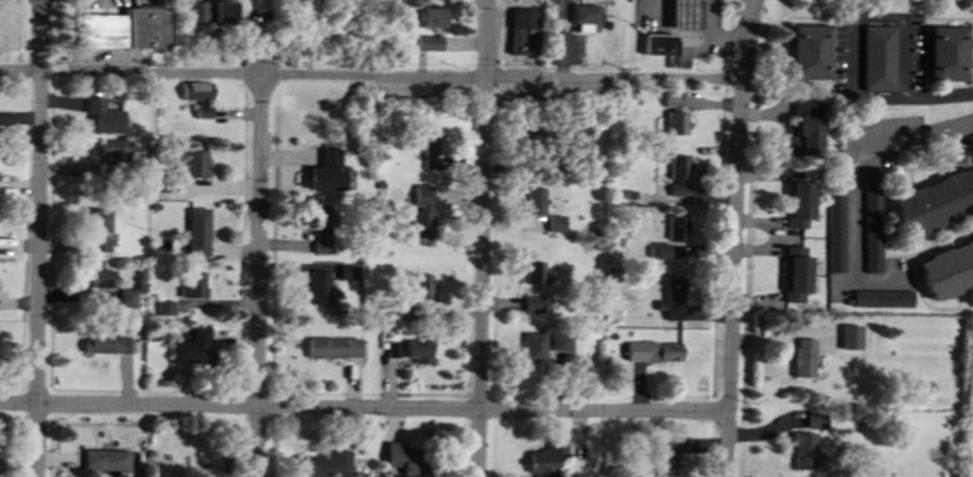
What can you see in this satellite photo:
building: (196, 11)
building: (222, 11)
building: (684, 14)
building: (430, 16)
building: (583, 16)
building: (522, 17)
road: (857, 22)
building: (124, 28)
building: (522, 40)
building: (428, 42)
building: (659, 44)
building: (807, 51)
building: (945, 52)
building: (877, 57)
road: (369, 77)
road: (937, 95)
building: (199, 97)
building: (671, 98)
building: (103, 116)
building: (676, 123)
building: (805, 130)
building: (536, 136)
building: (432, 150)
building: (115, 151)
building: (560, 161)
building: (195, 163)
building: (328, 171)
building: (677, 173)
road: (859, 175)
building: (422, 196)
building: (799, 198)
building: (533, 200)
building: (934, 201)
building: (99, 219)
building: (871, 219)
building: (554, 223)
building: (421, 224)
building: (321, 227)
building: (676, 227)
building: (197, 231)
building: (835, 233)
road: (38, 238)
road: (482, 238)
road: (733, 238)
building: (101, 244)
building: (659, 250)
building: (947, 270)
building: (347, 271)
building: (534, 272)
building: (795, 274)
road: (259, 276)
building: (100, 278)
building: (193, 284)
building: (421, 284)
building: (317, 287)
building: (127, 297)
building: (673, 298)
building: (882, 298)
building: (533, 303)
building: (164, 307)
building: (850, 336)
building: (108, 342)
building: (543, 345)
building: (192, 347)
building: (334, 347)
building: (392, 349)
building: (419, 350)
building: (652, 351)
building: (803, 357)
road: (364, 409)
building: (816, 420)
building: (804, 450)
building: (403, 457)
building: (546, 458)
building: (665, 458)
building: (105, 459)
building: (327, 463)

